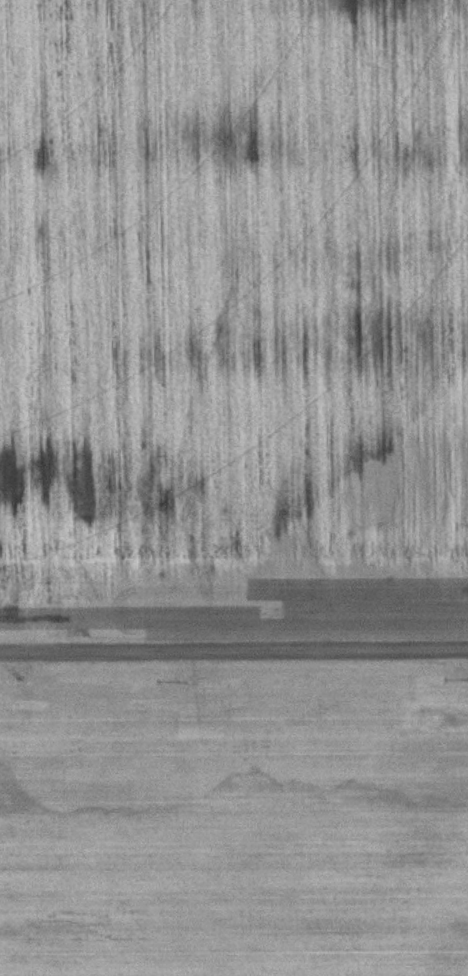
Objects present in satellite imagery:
road: (234, 653)

